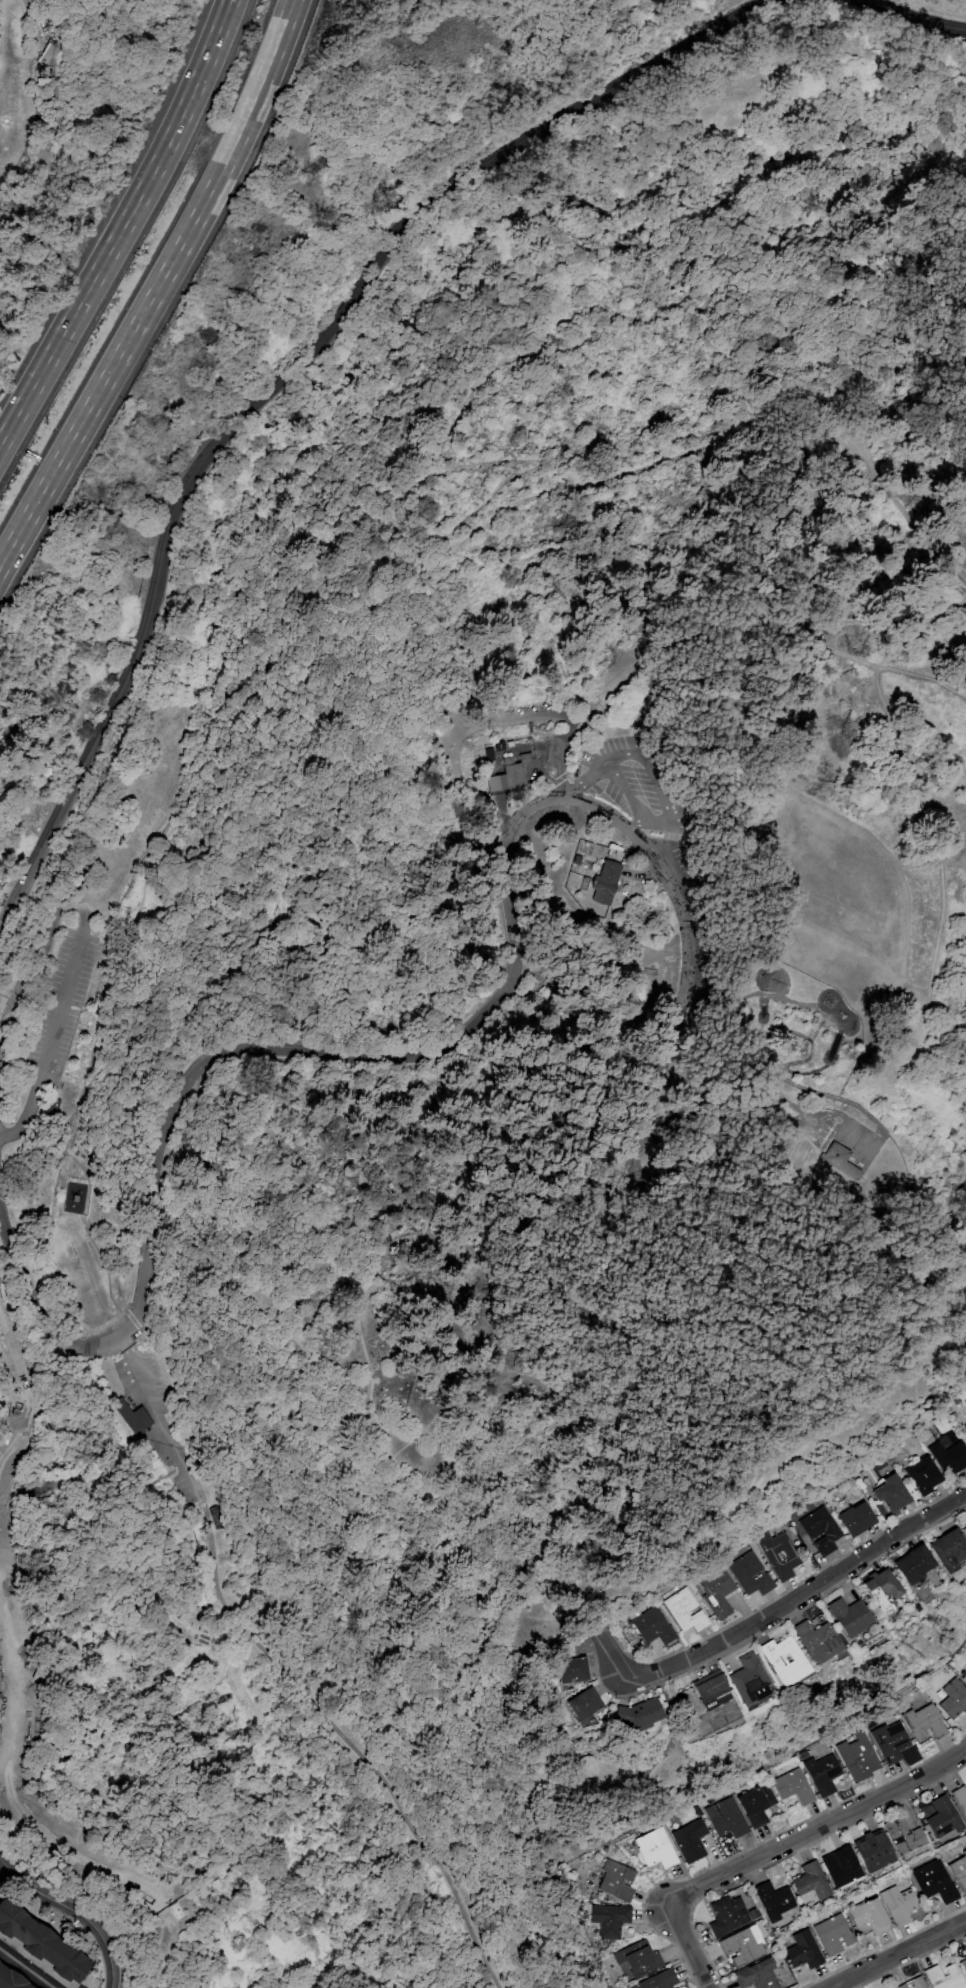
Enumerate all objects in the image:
road: (915, 16)
road: (918, 196)
road: (782, 222)
road: (123, 226)
road: (157, 288)
road: (542, 318)
road: (924, 339)
road: (285, 381)
road: (495, 555)
road: (763, 632)
road: (814, 646)
road: (574, 718)
building: (487, 753)
building: (524, 756)
road: (654, 759)
building: (512, 774)
building: (495, 783)
road: (597, 787)
parking lot: (640, 791)
road: (649, 818)
road: (937, 849)
building: (606, 882)
road: (98, 942)
road: (124, 944)
road: (132, 945)
road: (39, 949)
road: (706, 999)
road: (61, 1003)
parking lot: (61, 1004)
road: (819, 1011)
park: (498, 1013)
road: (762, 1023)
road: (765, 1029)
road: (460, 1037)
road: (137, 1065)
building: (762, 1068)
road: (767, 1078)
building: (52, 1109)
road: (860, 1109)
road: (58, 1110)
road: (828, 1111)
road: (25, 1113)
road: (731, 1119)
parking lot: (821, 1128)
road: (65, 1157)
building: (841, 1161)
road: (899, 1231)
road: (93, 1244)
road: (557, 1286)
parking lot: (108, 1328)
parking lot: (143, 1379)
building: (132, 1414)
road: (160, 1416)
building: (965, 1430)
building: (948, 1456)
parking lot: (175, 1461)
road: (279, 1466)
building: (923, 1475)
building: (891, 1493)
road: (214, 1496)
building: (217, 1516)
building: (855, 1520)
building: (964, 1525)
building: (820, 1530)
building: (949, 1549)
building: (779, 1554)
building: (913, 1563)
building: (751, 1574)
building: (881, 1590)
building: (716, 1592)
road: (791, 1603)
building: (685, 1610)
building: (849, 1617)
building: (652, 1627)
building: (818, 1641)
building: (784, 1660)
building: (571, 1670)
building: (749, 1679)
building: (964, 1680)
building: (710, 1689)
building: (951, 1699)
building: (583, 1707)
building: (639, 1715)
building: (923, 1723)
road: (349, 1738)
building: (890, 1742)
building: (859, 1757)
building: (584, 1766)
building: (823, 1774)
building: (795, 1787)
building: (960, 1799)
building: (757, 1804)
building: (727, 1818)
building: (943, 1819)
road: (816, 1832)
building: (903, 1836)
building: (690, 1840)
building: (656, 1849)
building: (876, 1853)
road: (4, 1868)
building: (841, 1868)
building: (959, 1871)
building: (811, 1881)
building: (935, 1881)
building: (622, 1882)
building: (774, 1900)
road: (63, 1901)
building: (899, 1905)
building: (729, 1915)
building: (868, 1917)
building: (610, 1919)
building: (833, 1935)
building: (42, 1943)
road: (688, 1946)
building: (742, 1946)
building: (804, 1951)
road: (158, 1954)
road: (897, 1954)
building: (636, 1960)
building: (963, 1965)
road: (24, 1969)
road: (114, 1974)
building: (757, 1975)
building: (943, 1976)
building: (12, 1979)
building: (660, 1980)
building: (913, 1983)

